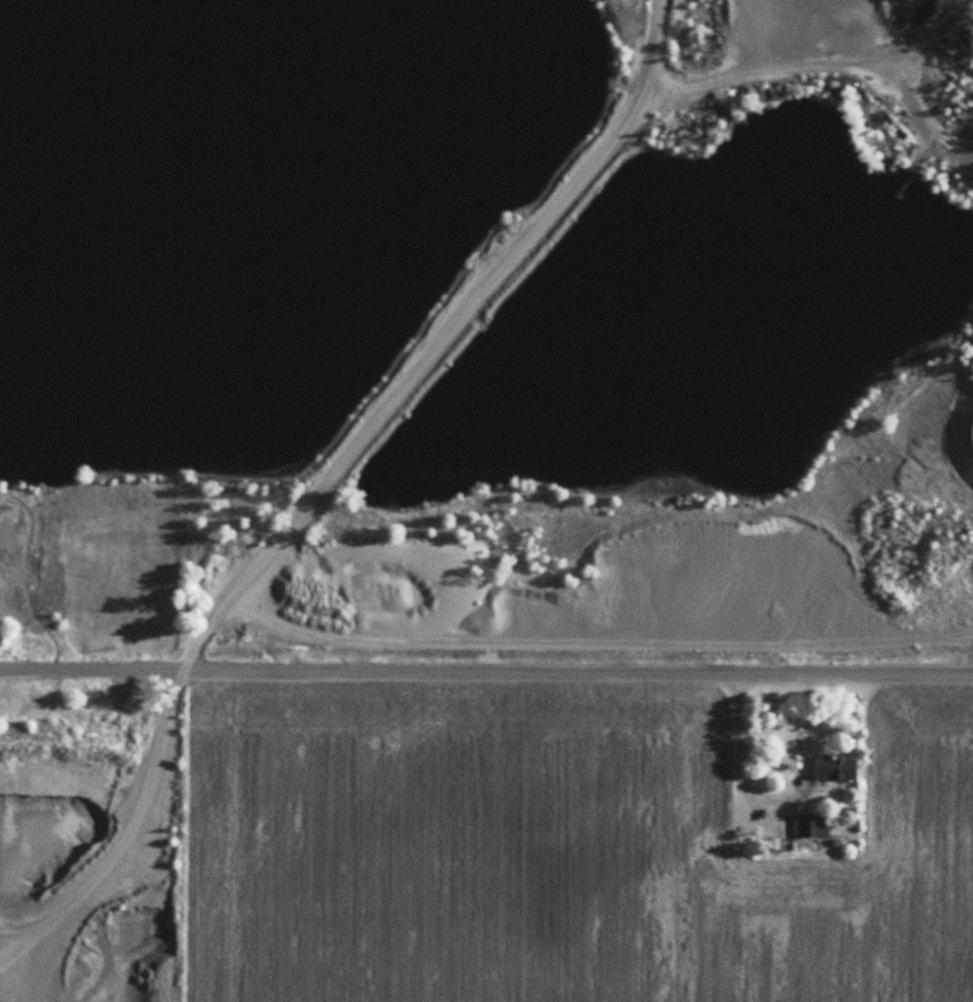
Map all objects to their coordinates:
road: (444, 344)
road: (486, 672)
building: (837, 767)
building: (811, 825)
building: (722, 841)

